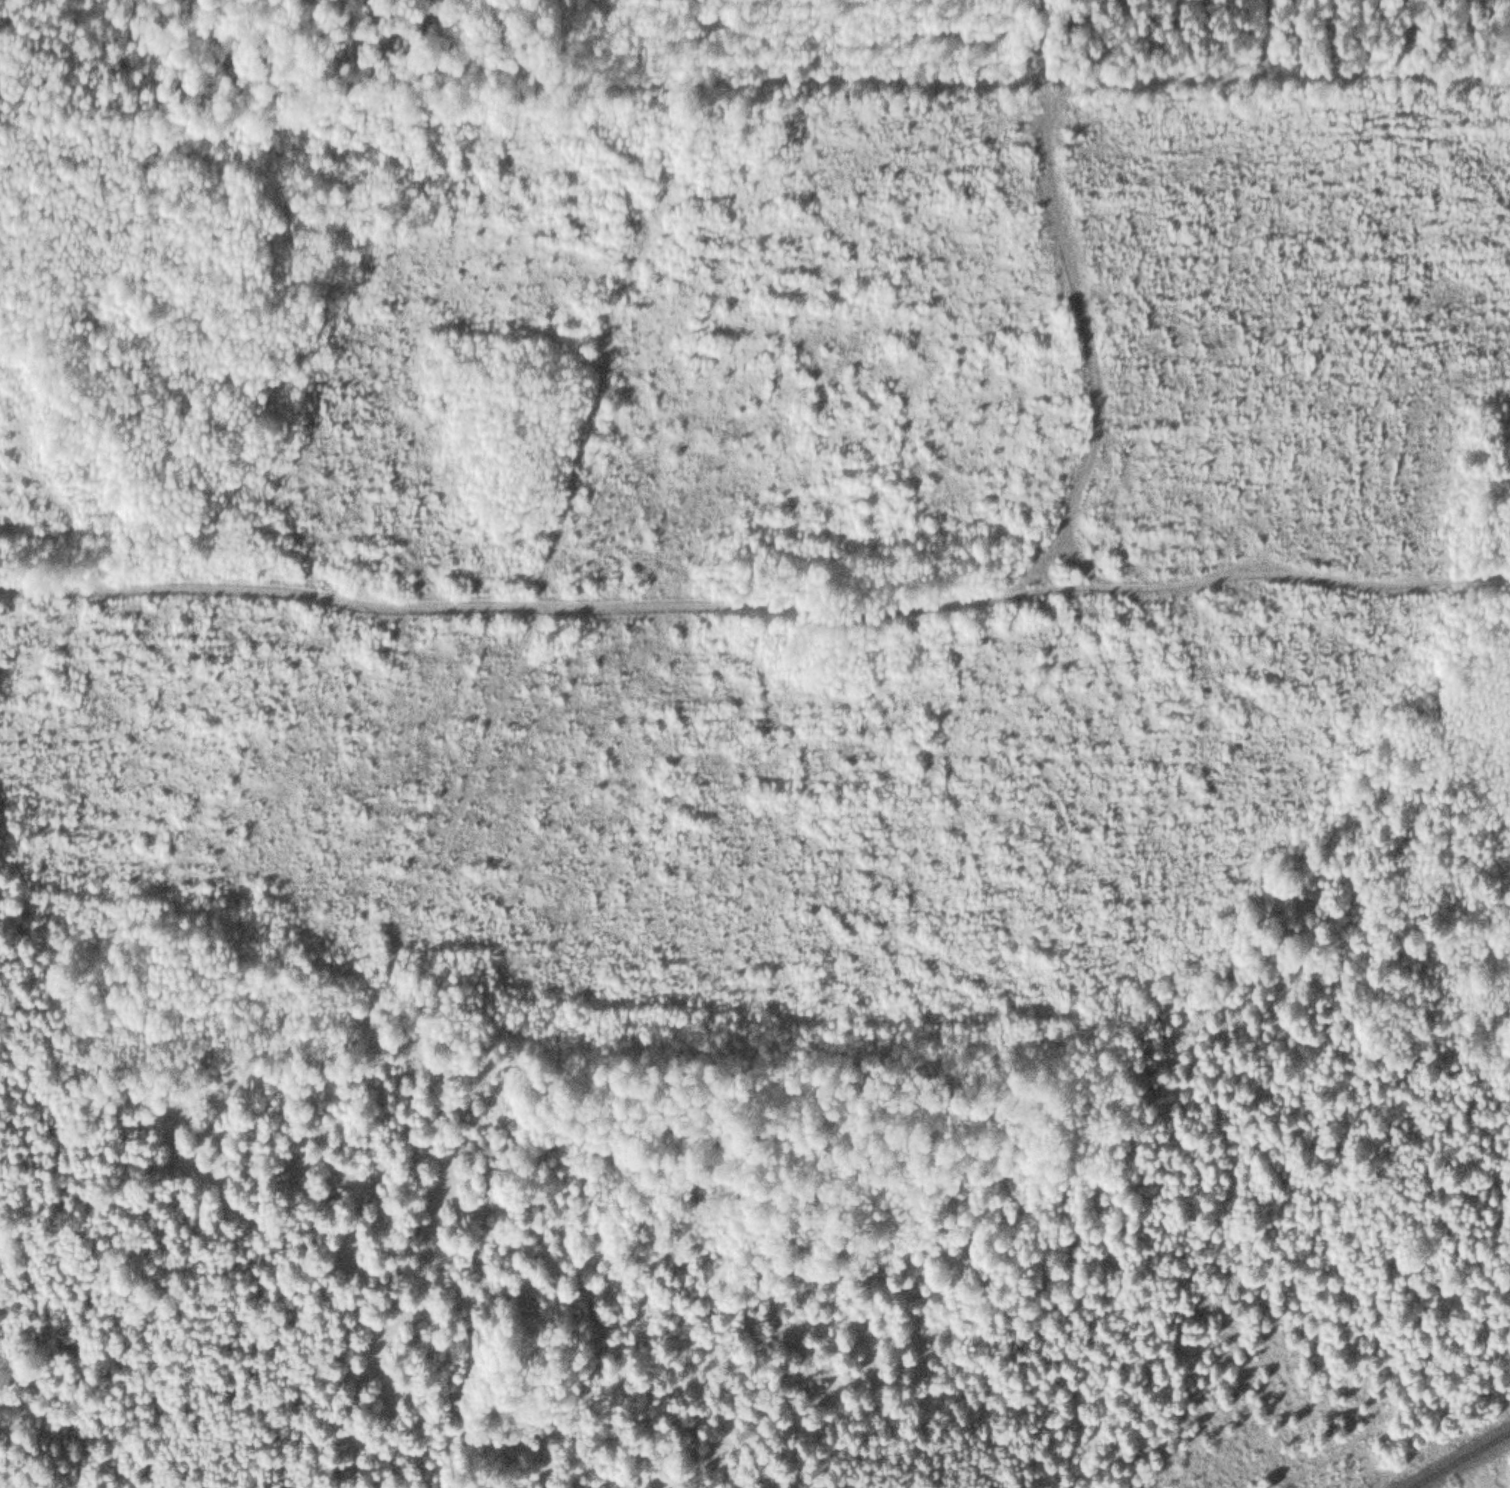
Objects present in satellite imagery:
railway: (1457, 1458)

